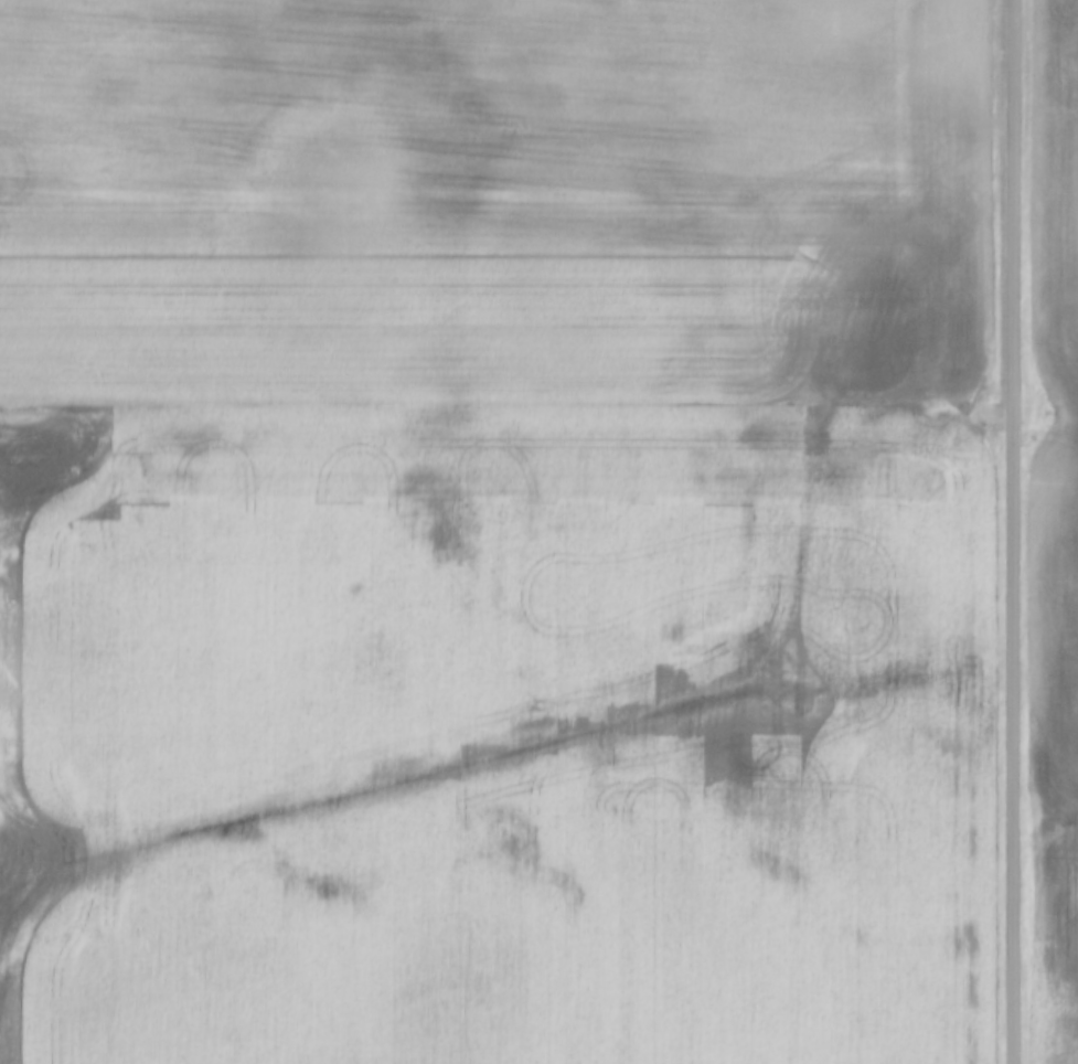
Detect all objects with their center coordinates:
road: (1024, 532)

